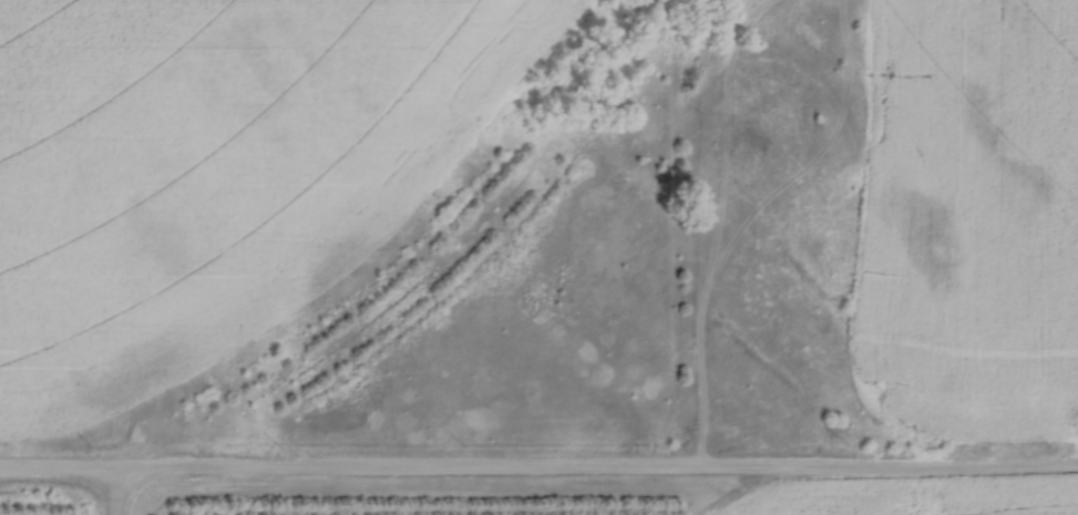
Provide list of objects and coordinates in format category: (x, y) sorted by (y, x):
road: (538, 471)
road: (112, 494)

